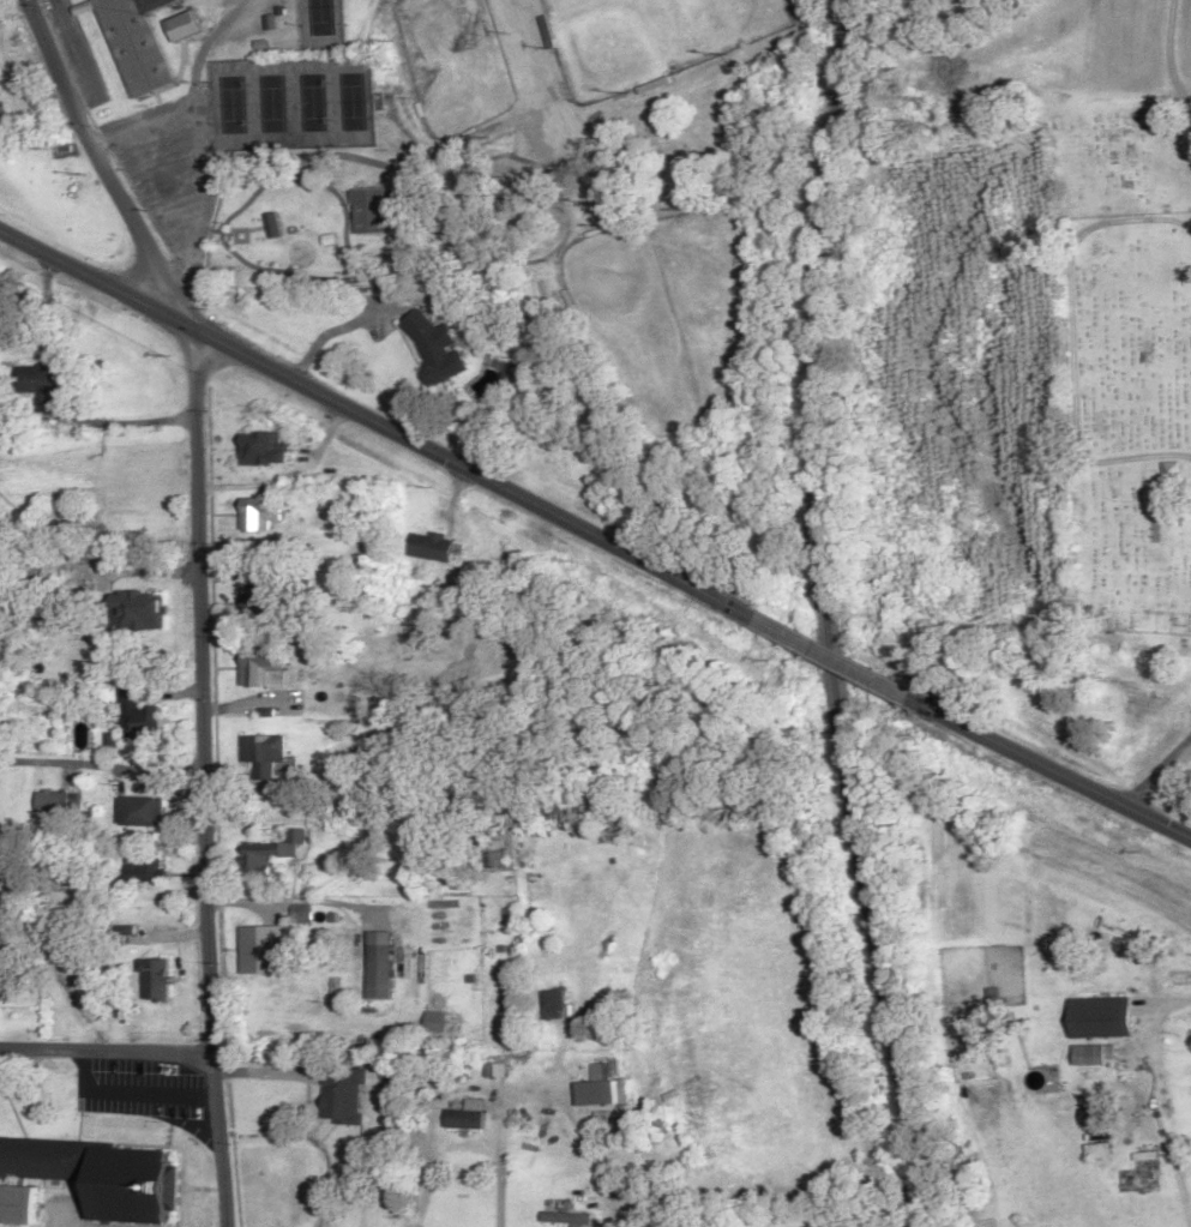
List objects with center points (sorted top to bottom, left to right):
building: (137, 43)
road: (1169, 55)
road: (102, 167)
building: (372, 209)
building: (435, 348)
building: (38, 386)
road: (379, 426)
building: (251, 451)
building: (1173, 470)
building: (259, 513)
building: (429, 547)
building: (261, 597)
building: (138, 611)
railway: (829, 614)
road: (837, 658)
building: (263, 673)
building: (142, 722)
building: (260, 756)
road: (103, 766)
road: (1052, 768)
road: (207, 777)
road: (1161, 777)
building: (58, 802)
building: (139, 812)
building: (272, 854)
building: (149, 868)
building: (259, 952)
building: (156, 980)
building: (555, 1004)
building: (1103, 1017)
building: (433, 1022)
road: (106, 1052)
building: (984, 1106)
building: (464, 1117)
building: (1093, 1131)
building: (101, 1175)
building: (17, 1204)
building: (565, 1219)

